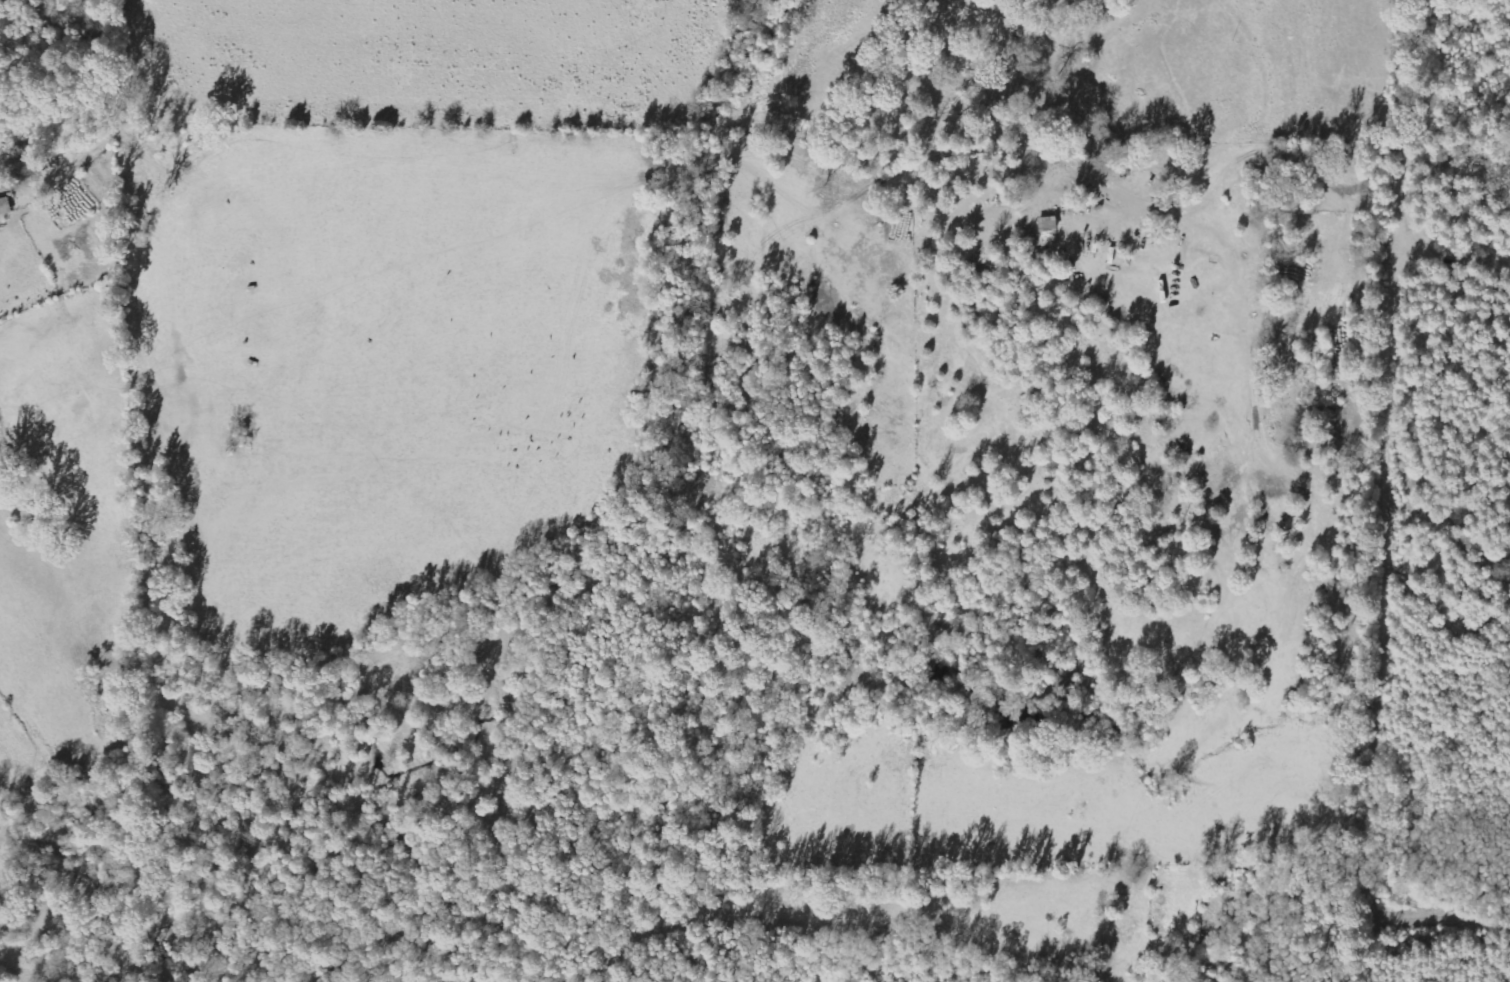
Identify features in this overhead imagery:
road: (1412, 74)
building: (5, 207)
building: (1052, 224)

